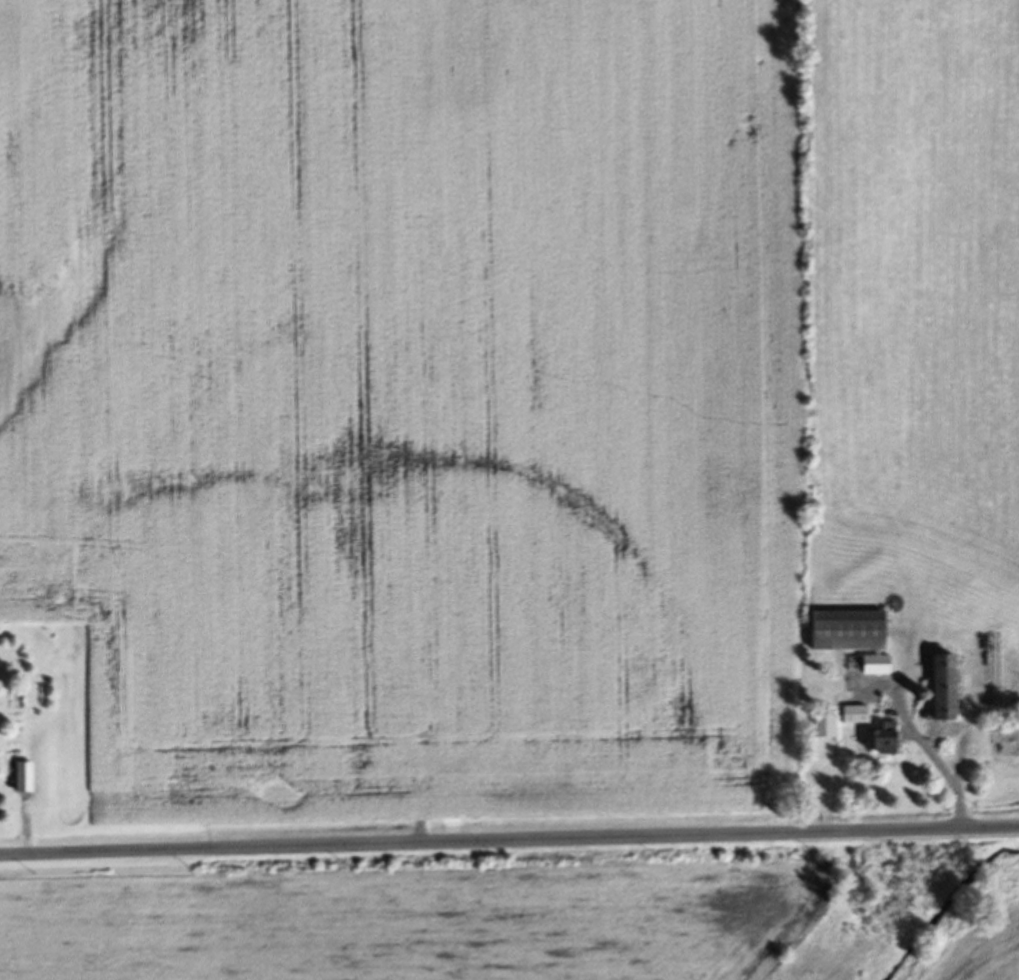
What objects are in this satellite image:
building: (844, 633)
building: (872, 667)
building: (938, 690)
building: (851, 717)
building: (822, 728)
building: (879, 739)
road: (925, 746)
building: (20, 779)
road: (509, 840)

